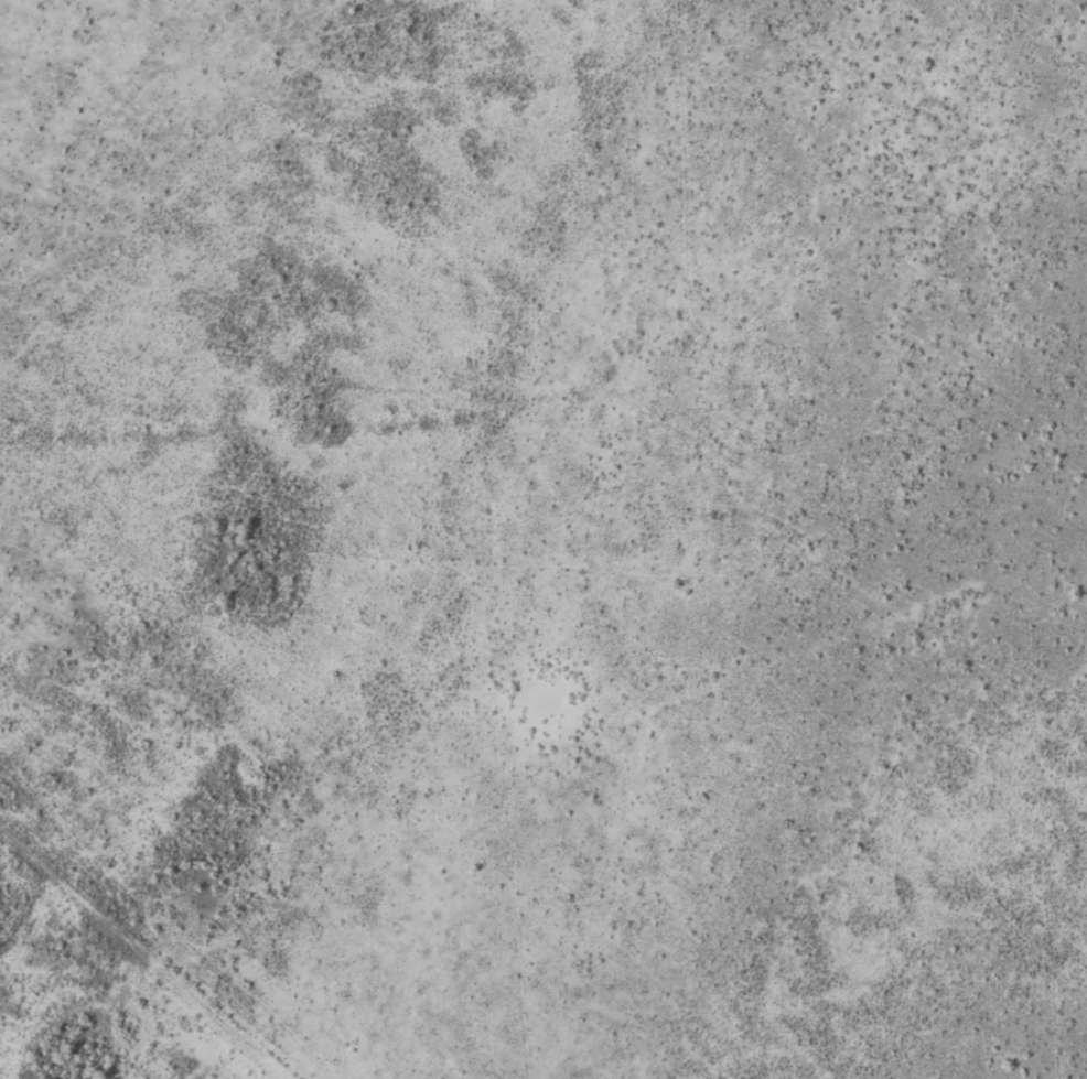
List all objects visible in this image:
road: (148, 949)

